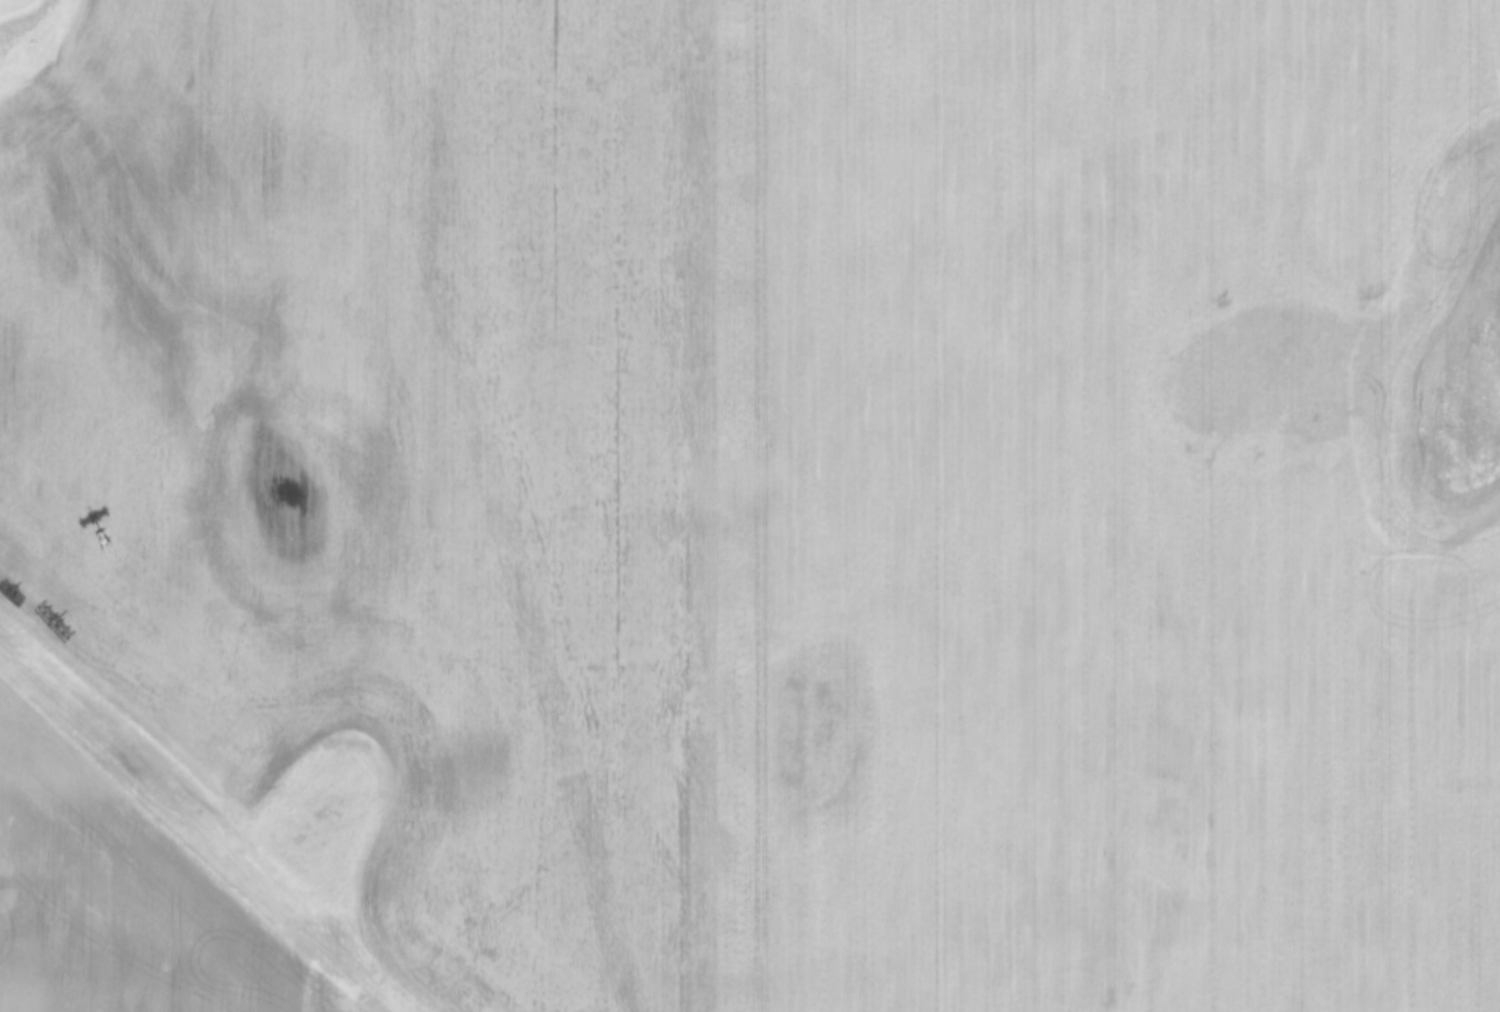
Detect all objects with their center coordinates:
airport runway: (199, 830)

